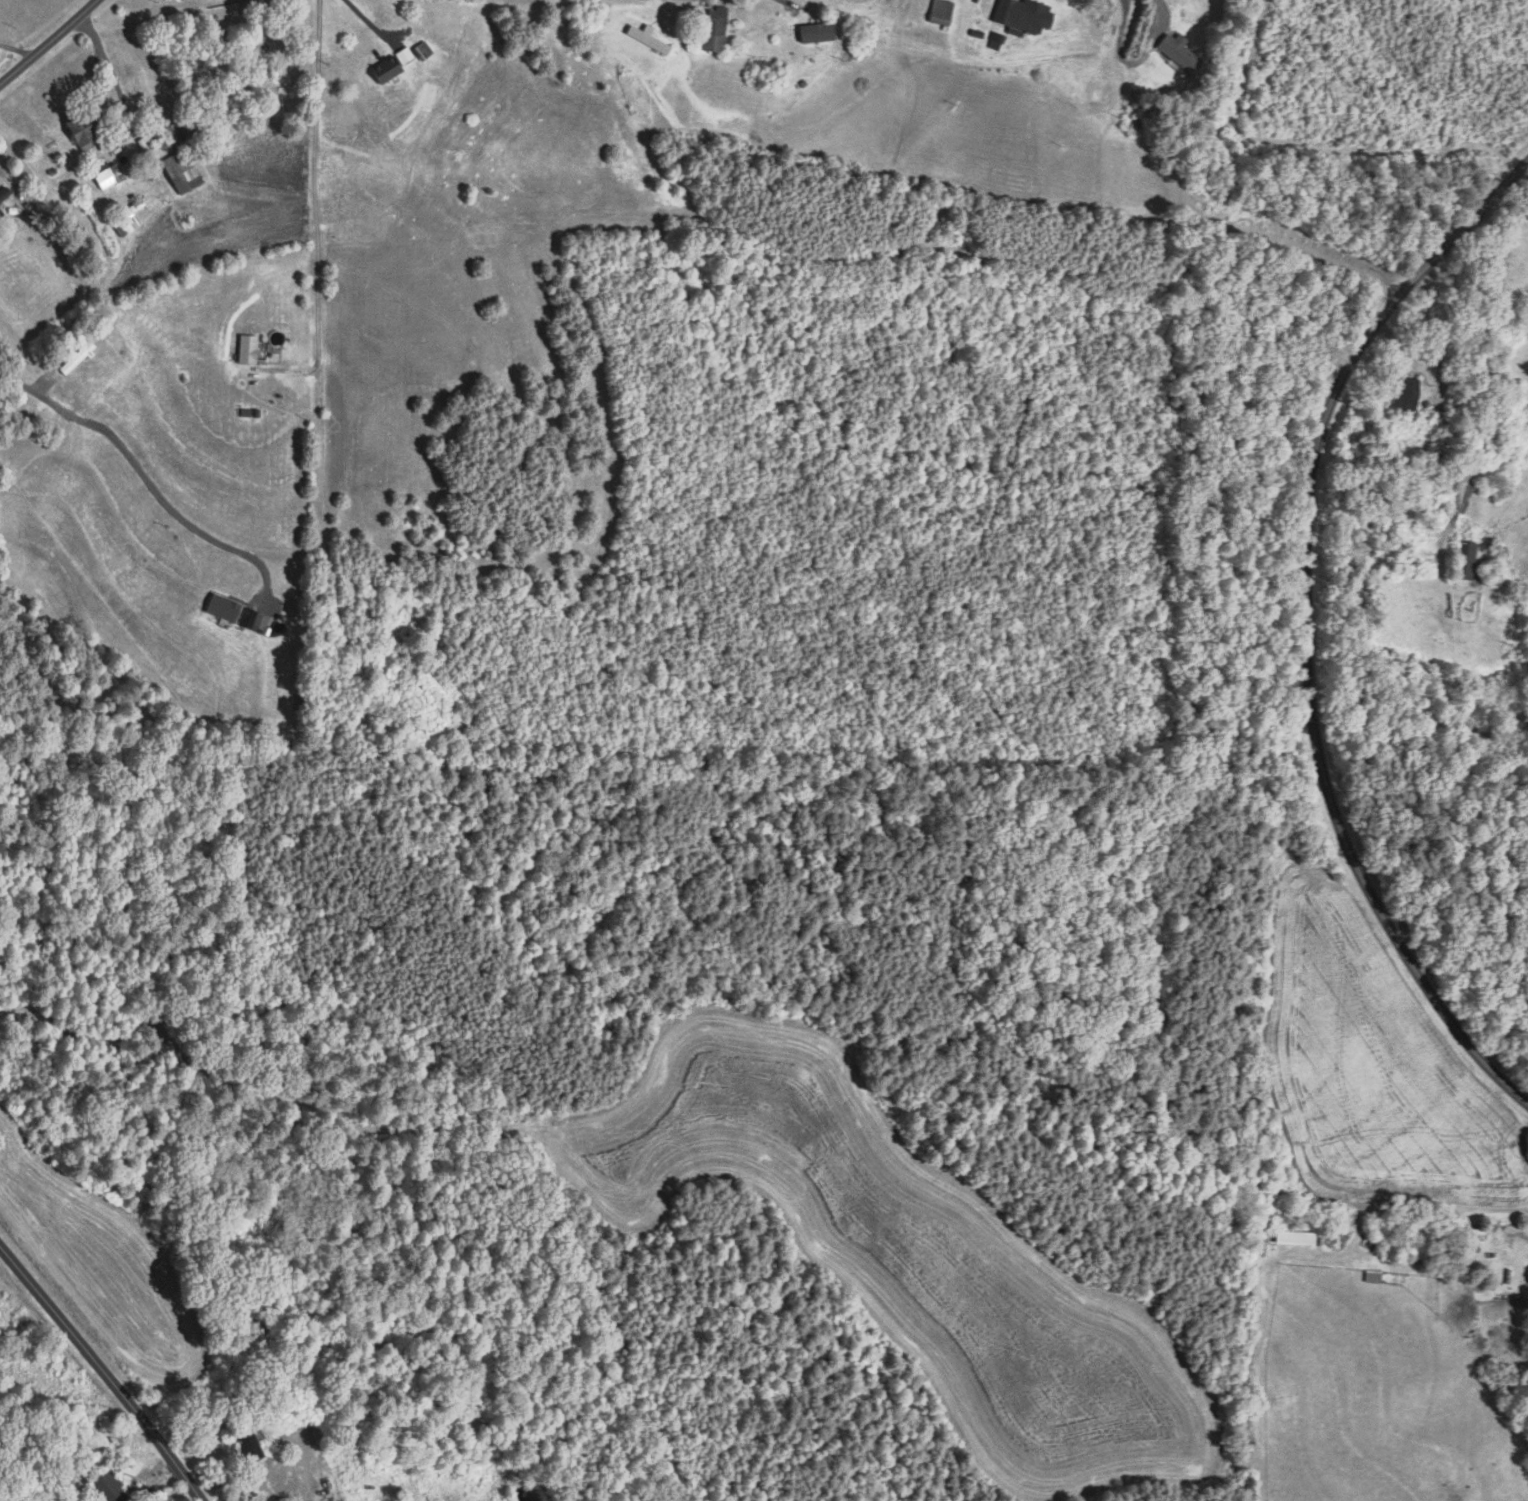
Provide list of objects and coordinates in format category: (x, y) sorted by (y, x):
road: (800, 6)
building: (1025, 15)
building: (942, 17)
road: (368, 20)
building: (717, 28)
building: (812, 37)
building: (650, 38)
road: (48, 41)
building: (259, 44)
road: (17, 48)
building: (424, 50)
building: (1181, 52)
building: (765, 68)
building: (389, 70)
road: (94, 78)
road: (116, 84)
building: (84, 129)
building: (174, 135)
building: (183, 172)
road: (53, 182)
building: (5, 194)
road: (316, 194)
building: (1, 214)
building: (129, 219)
building: (249, 349)
building: (79, 358)
building: (1408, 394)
road: (144, 476)
building: (1466, 559)
road: (1306, 627)
road: (102, 1370)
building: (250, 1441)
building: (112, 1487)

